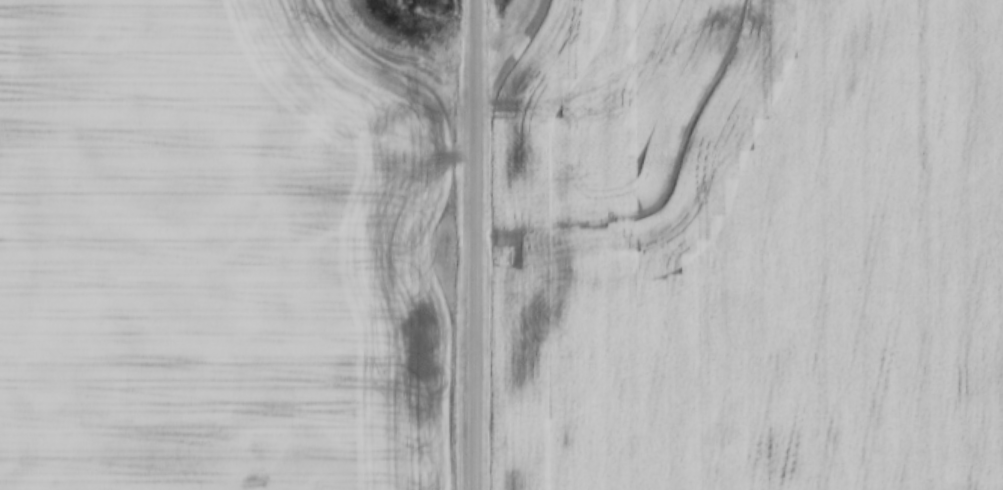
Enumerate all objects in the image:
road: (477, 244)

